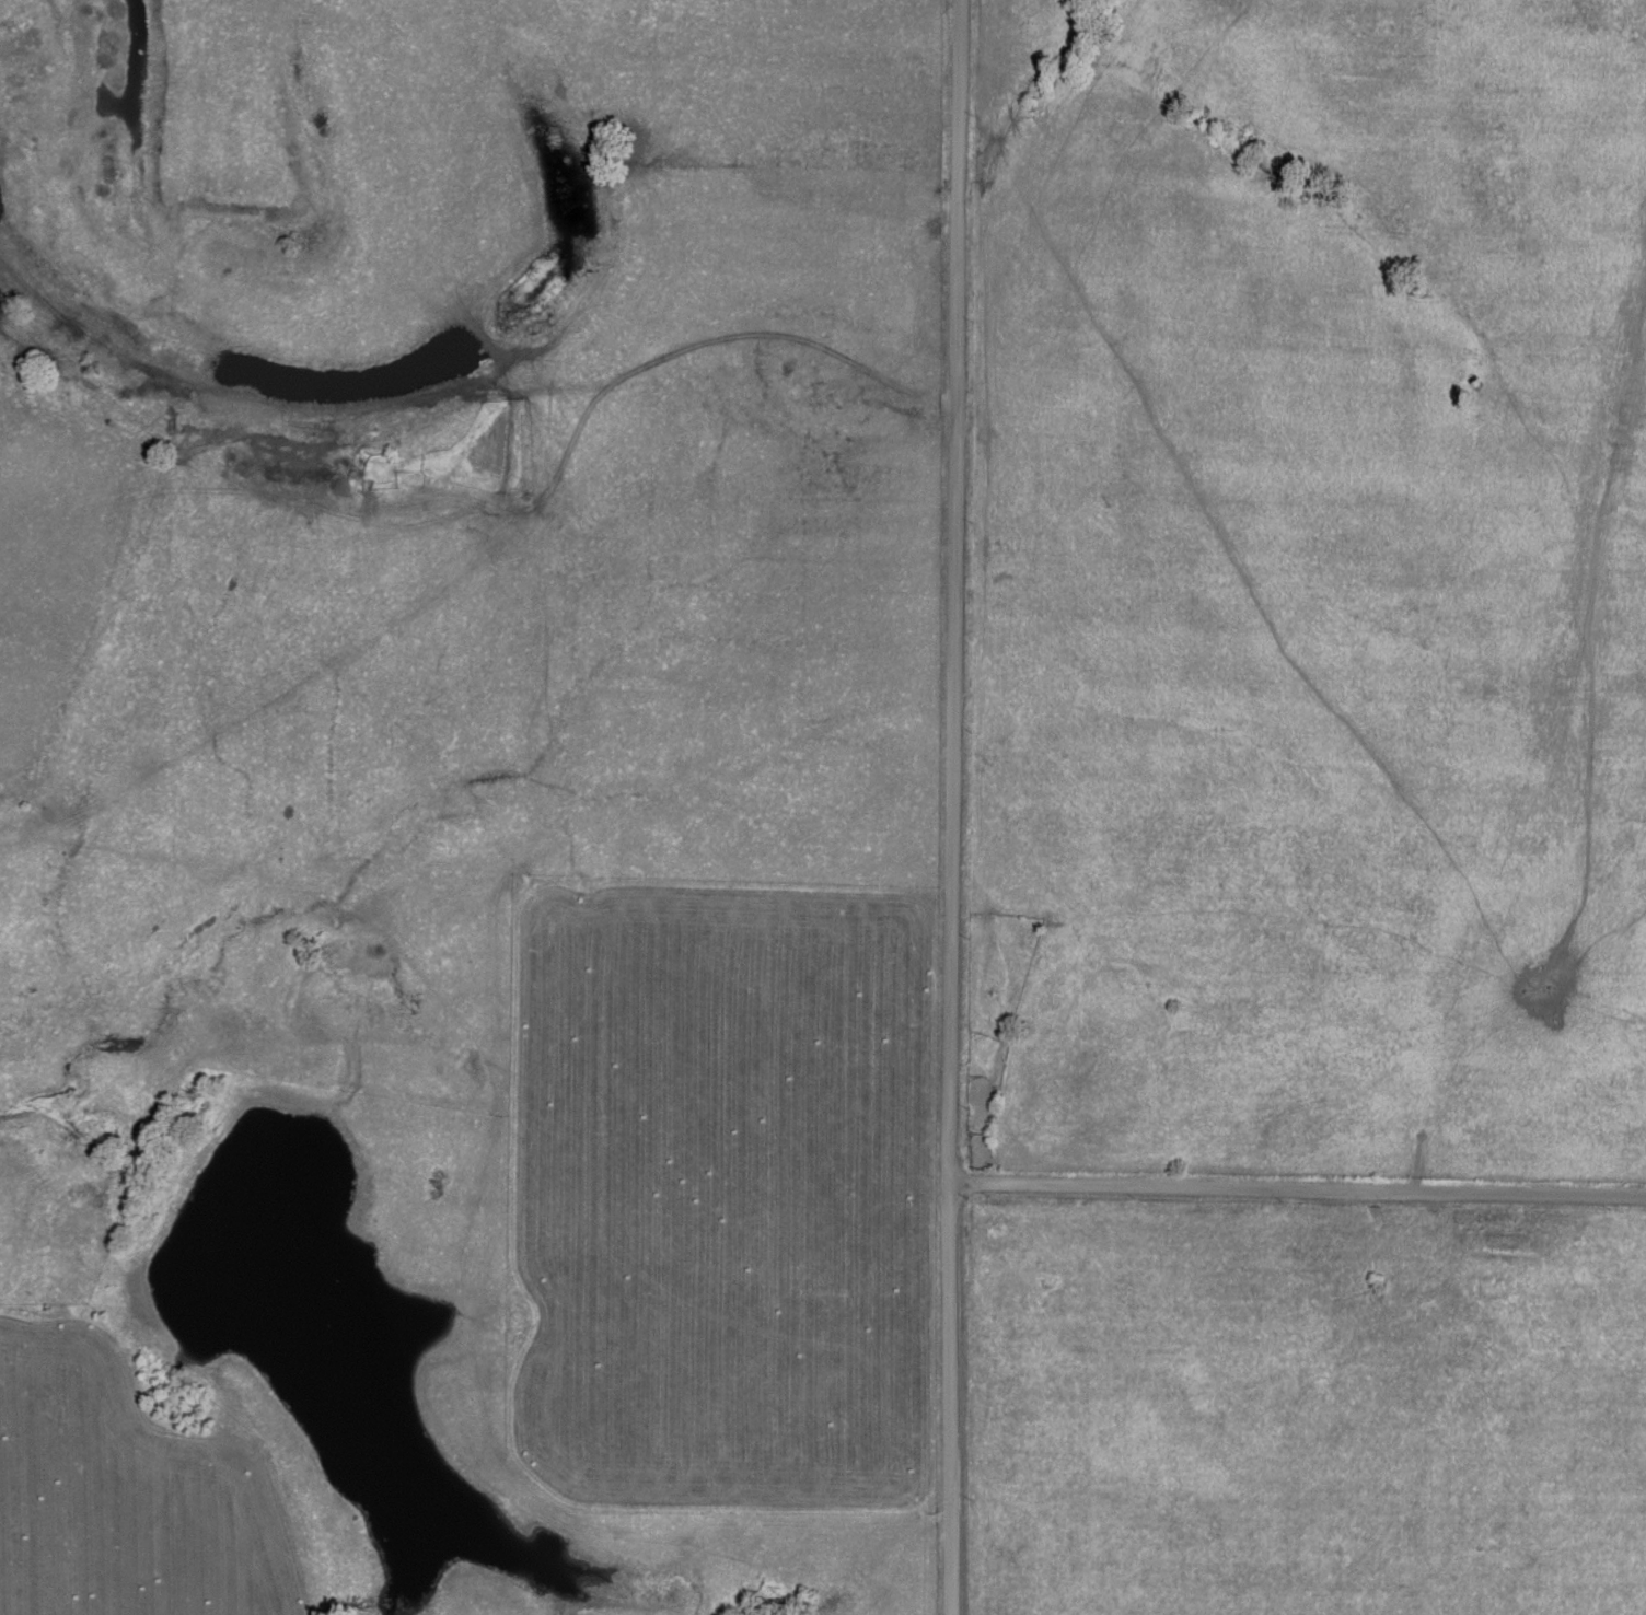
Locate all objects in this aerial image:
road: (952, 806)
road: (1298, 1186)

